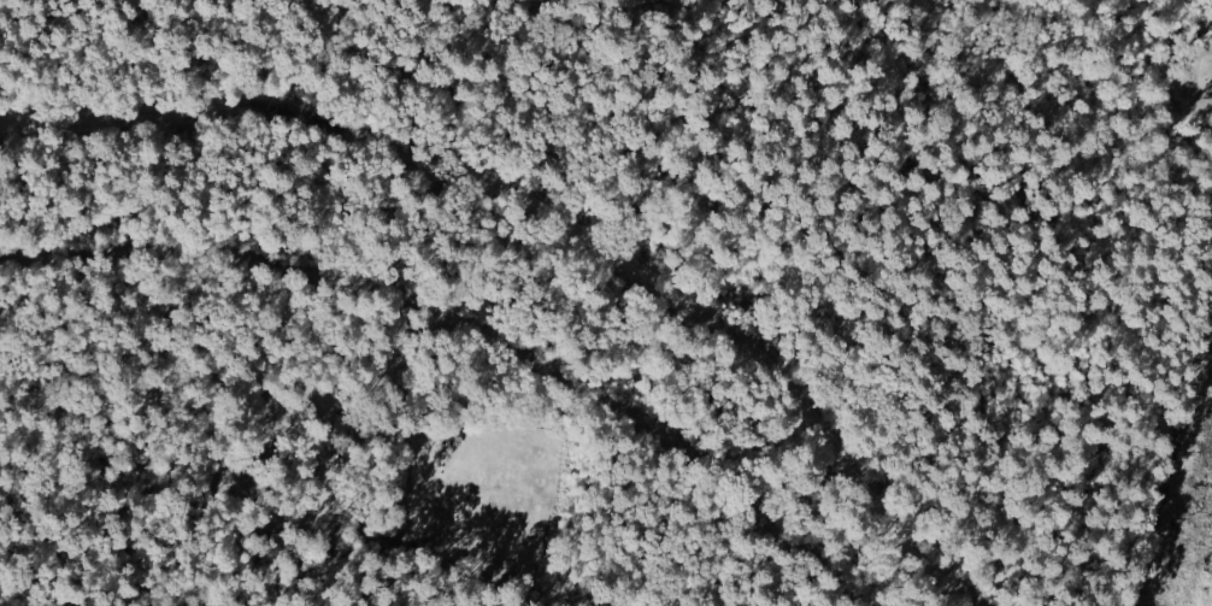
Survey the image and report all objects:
road: (549, 226)
road: (1175, 455)

